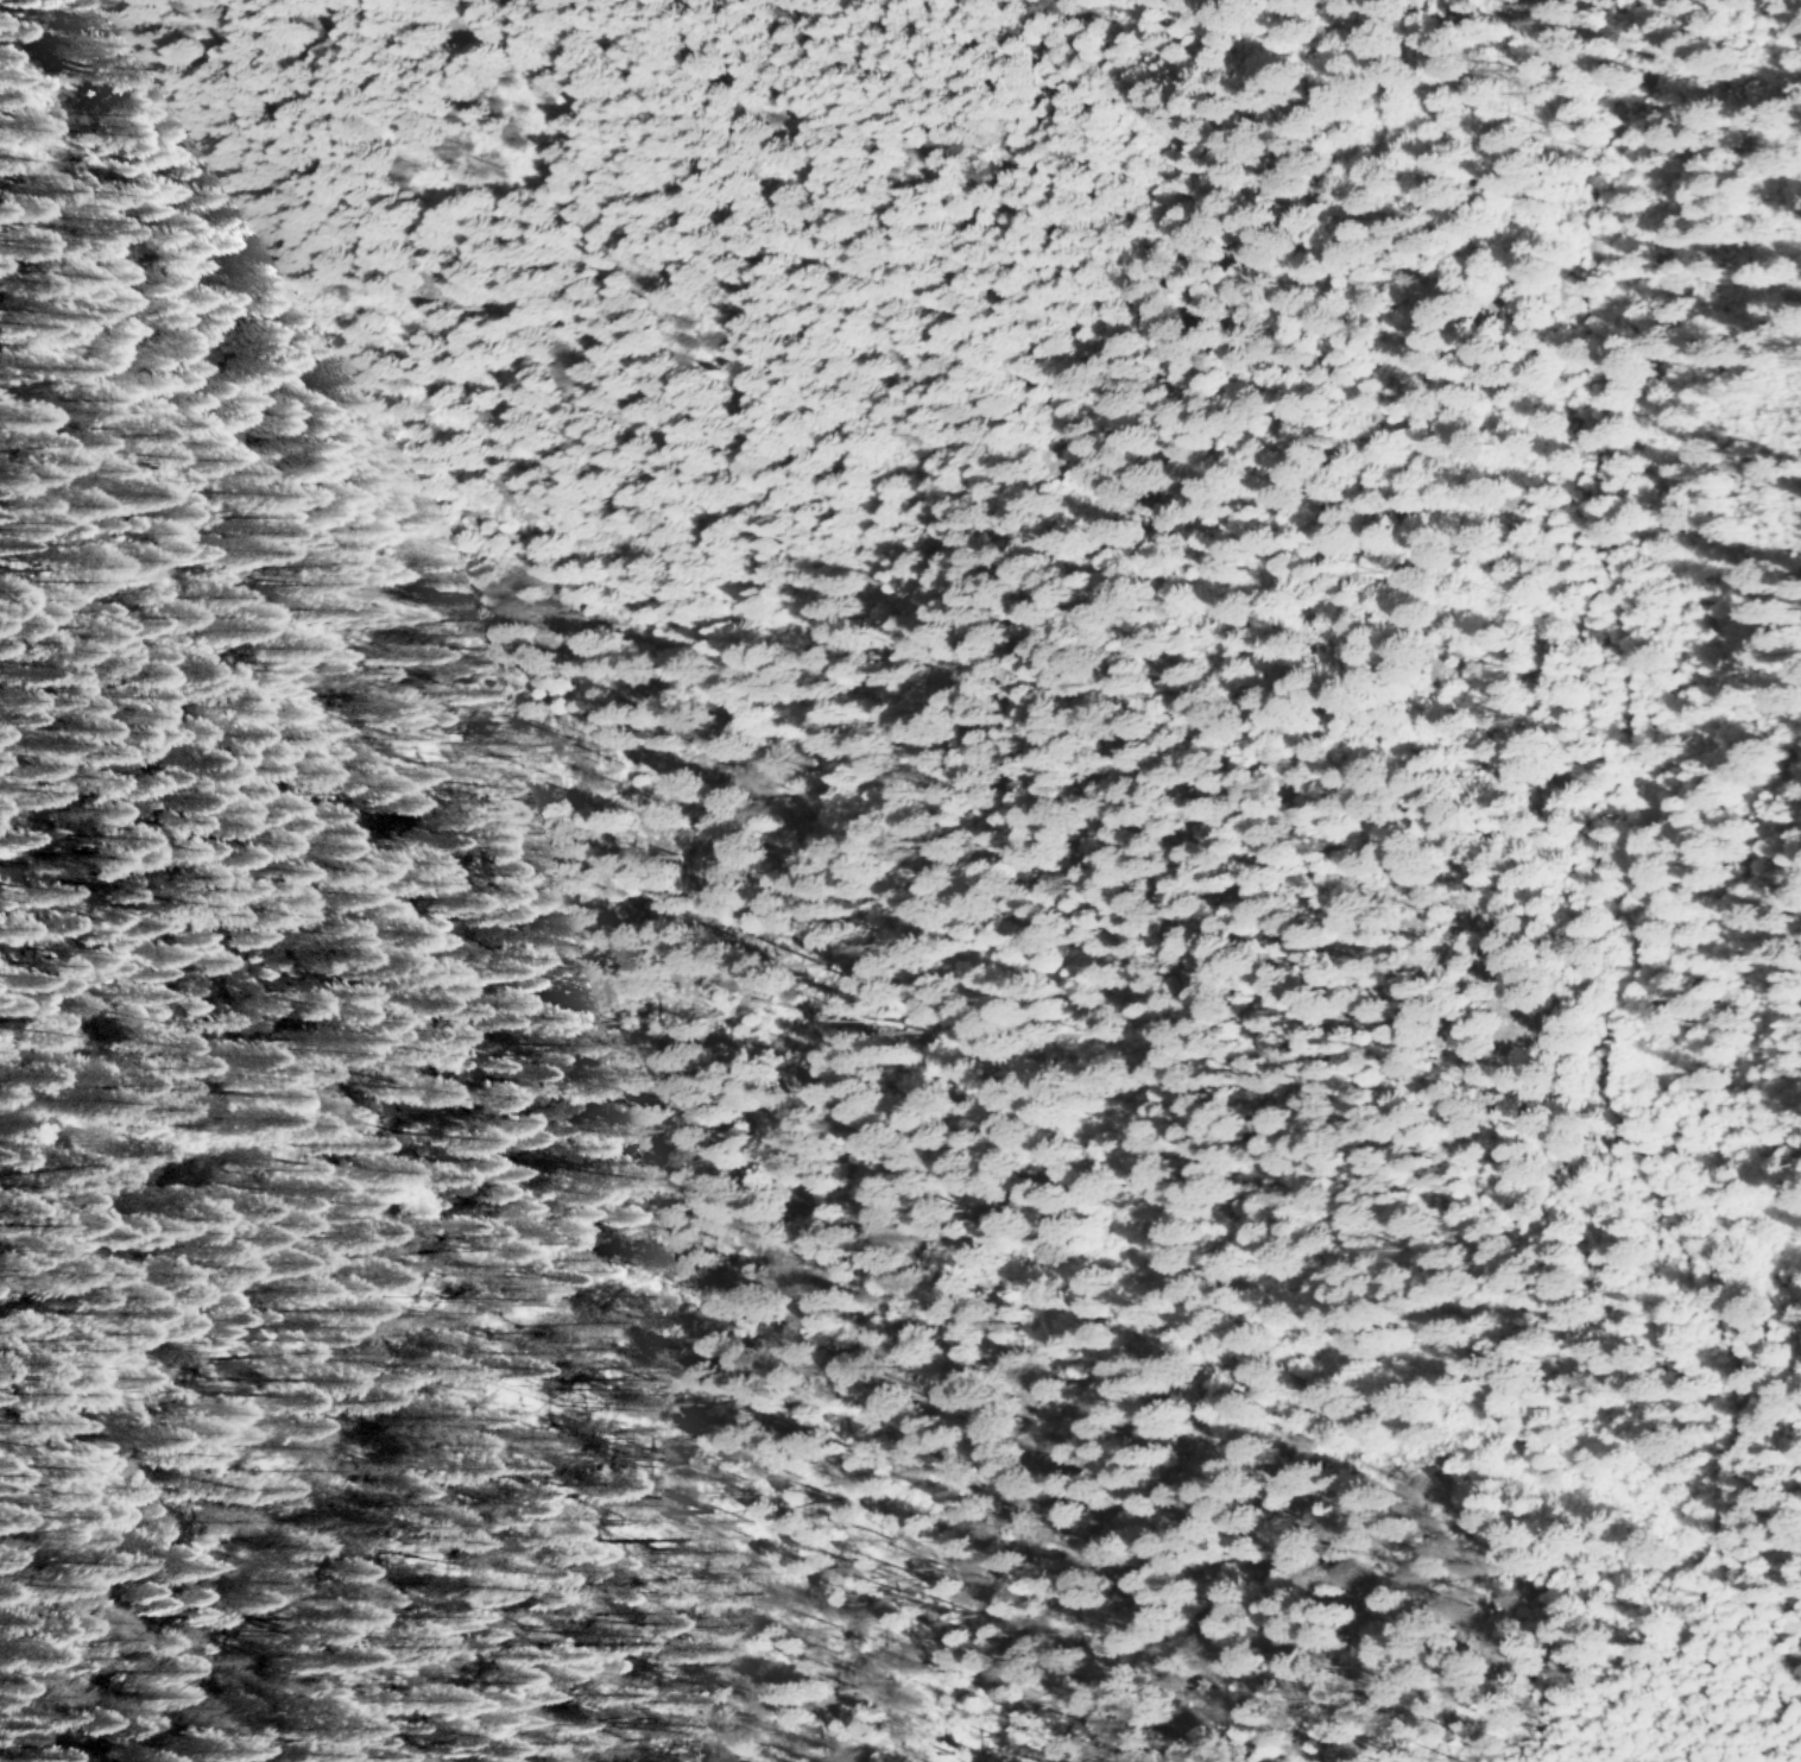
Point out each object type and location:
road: (468, 13)
road: (1725, 1498)

